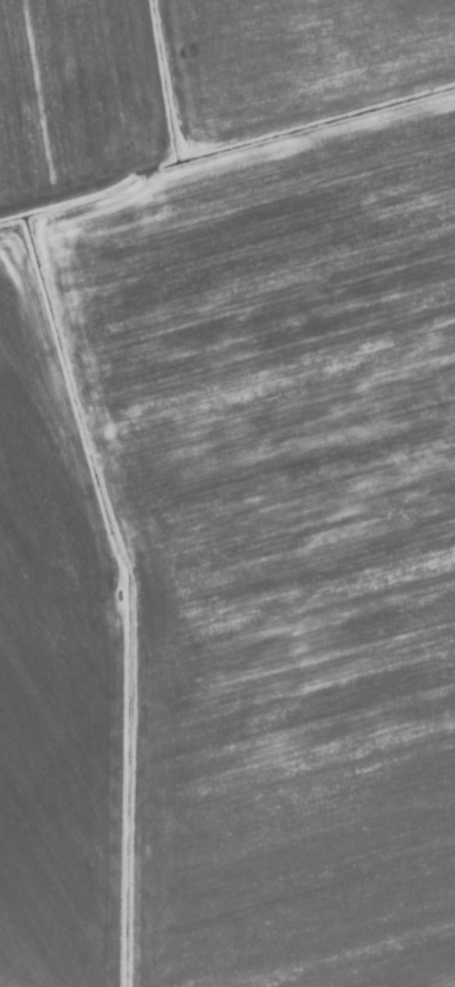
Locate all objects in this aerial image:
crop: (227, 493)

